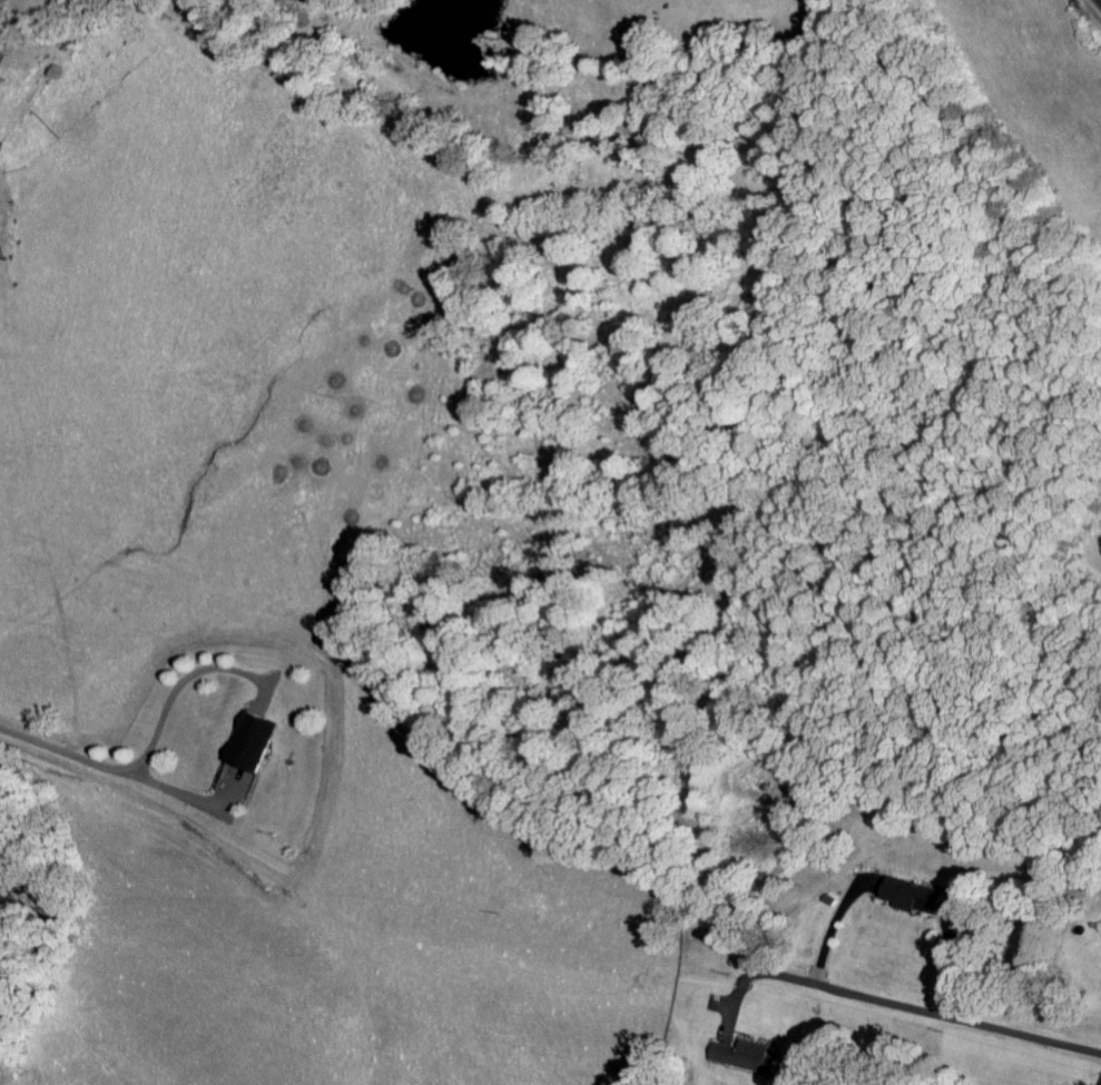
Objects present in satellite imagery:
road: (1100, 0)
building: (248, 746)
building: (905, 898)
road: (934, 1017)
building: (739, 1061)

